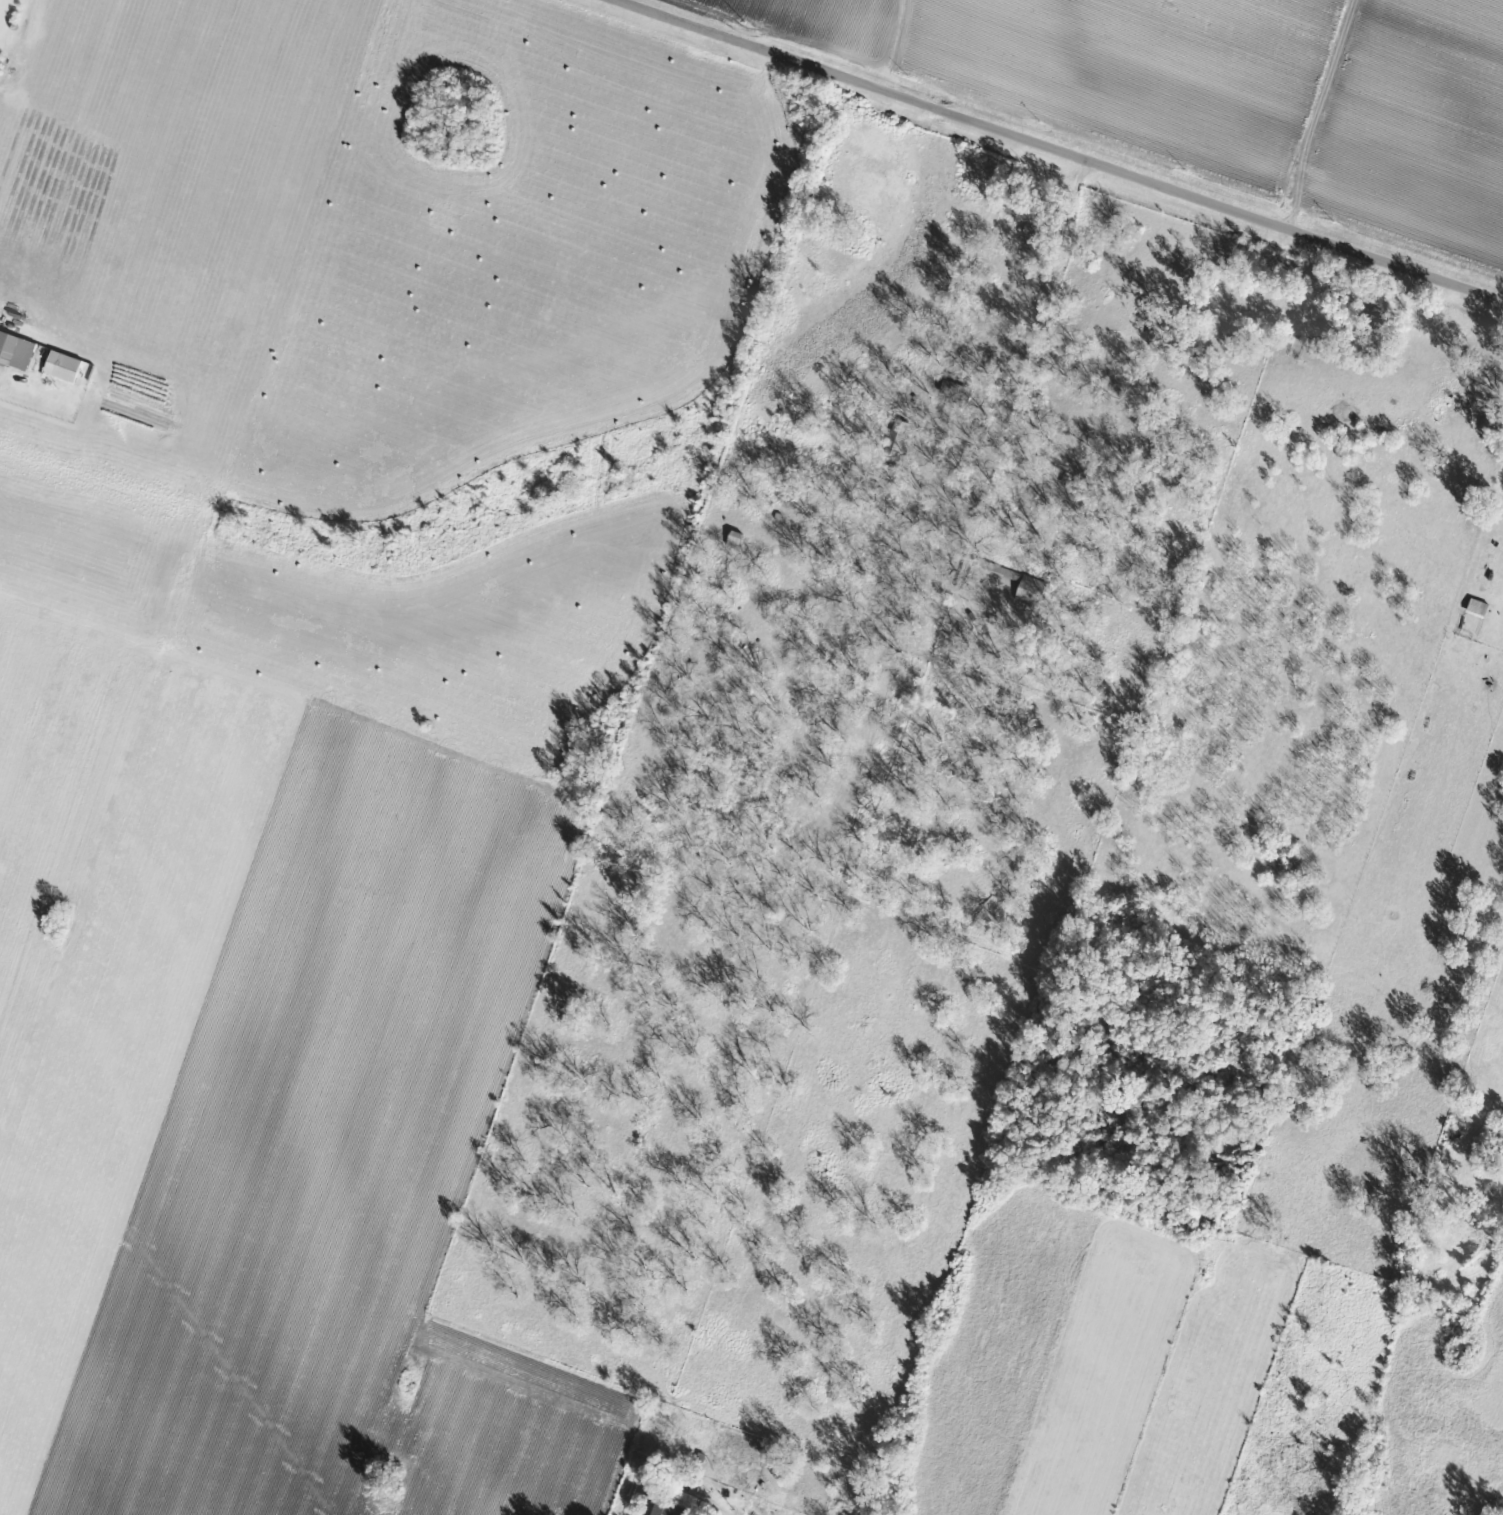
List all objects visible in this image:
road: (1064, 150)
road: (1065, 220)
building: (9, 340)
building: (70, 367)
building: (1479, 606)
building: (682, 1504)
building: (650, 1509)

